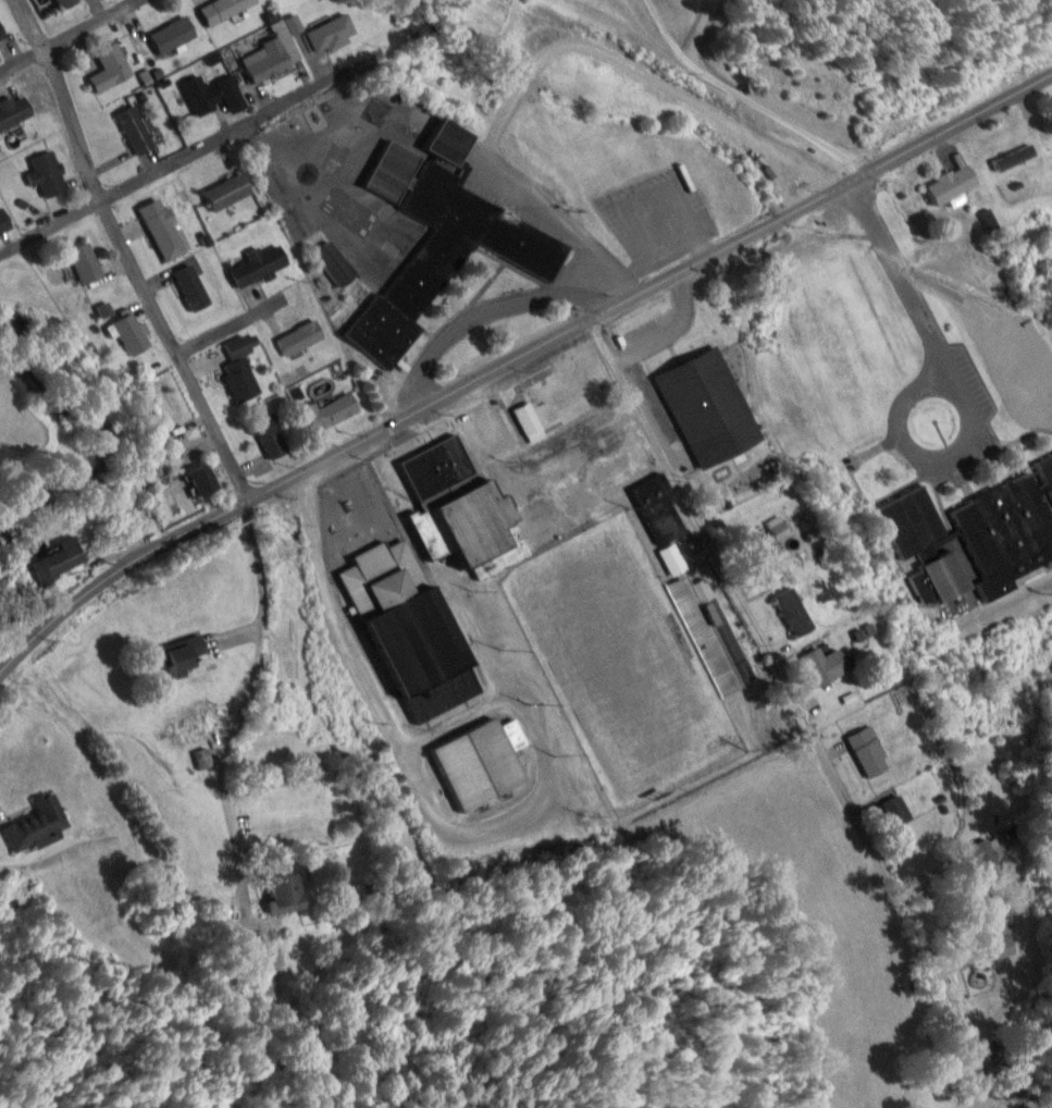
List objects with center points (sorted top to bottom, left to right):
building: (67, 3)
building: (223, 10)
building: (2, 33)
building: (331, 34)
building: (172, 35)
road: (89, 50)
building: (269, 65)
building: (110, 69)
building: (213, 96)
building: (14, 114)
building: (136, 131)
building: (449, 143)
park: (341, 144)
road: (180, 156)
building: (1014, 159)
building: (47, 174)
park: (273, 182)
building: (953, 187)
building: (228, 193)
road: (820, 200)
building: (4, 222)
park: (335, 222)
park: (295, 225)
building: (162, 230)
building: (441, 248)
road: (125, 251)
building: (85, 262)
building: (260, 267)
building: (339, 272)
building: (193, 287)
road: (231, 324)
building: (129, 334)
building: (300, 337)
building: (242, 368)
building: (700, 395)
building: (329, 411)
building: (273, 435)
building: (437, 465)
building: (205, 479)
road: (282, 480)
building: (521, 494)
building: (660, 508)
building: (777, 528)
building: (974, 538)
building: (672, 559)
building: (60, 561)
building: (794, 612)
building: (412, 631)
building: (711, 636)
building: (187, 653)
park: (621, 662)
building: (826, 665)
road: (251, 690)
road: (797, 715)
building: (203, 725)
building: (868, 752)
building: (482, 762)
building: (896, 811)
building: (38, 824)
building: (982, 853)
building: (285, 894)
building: (998, 939)
building: (989, 1049)

